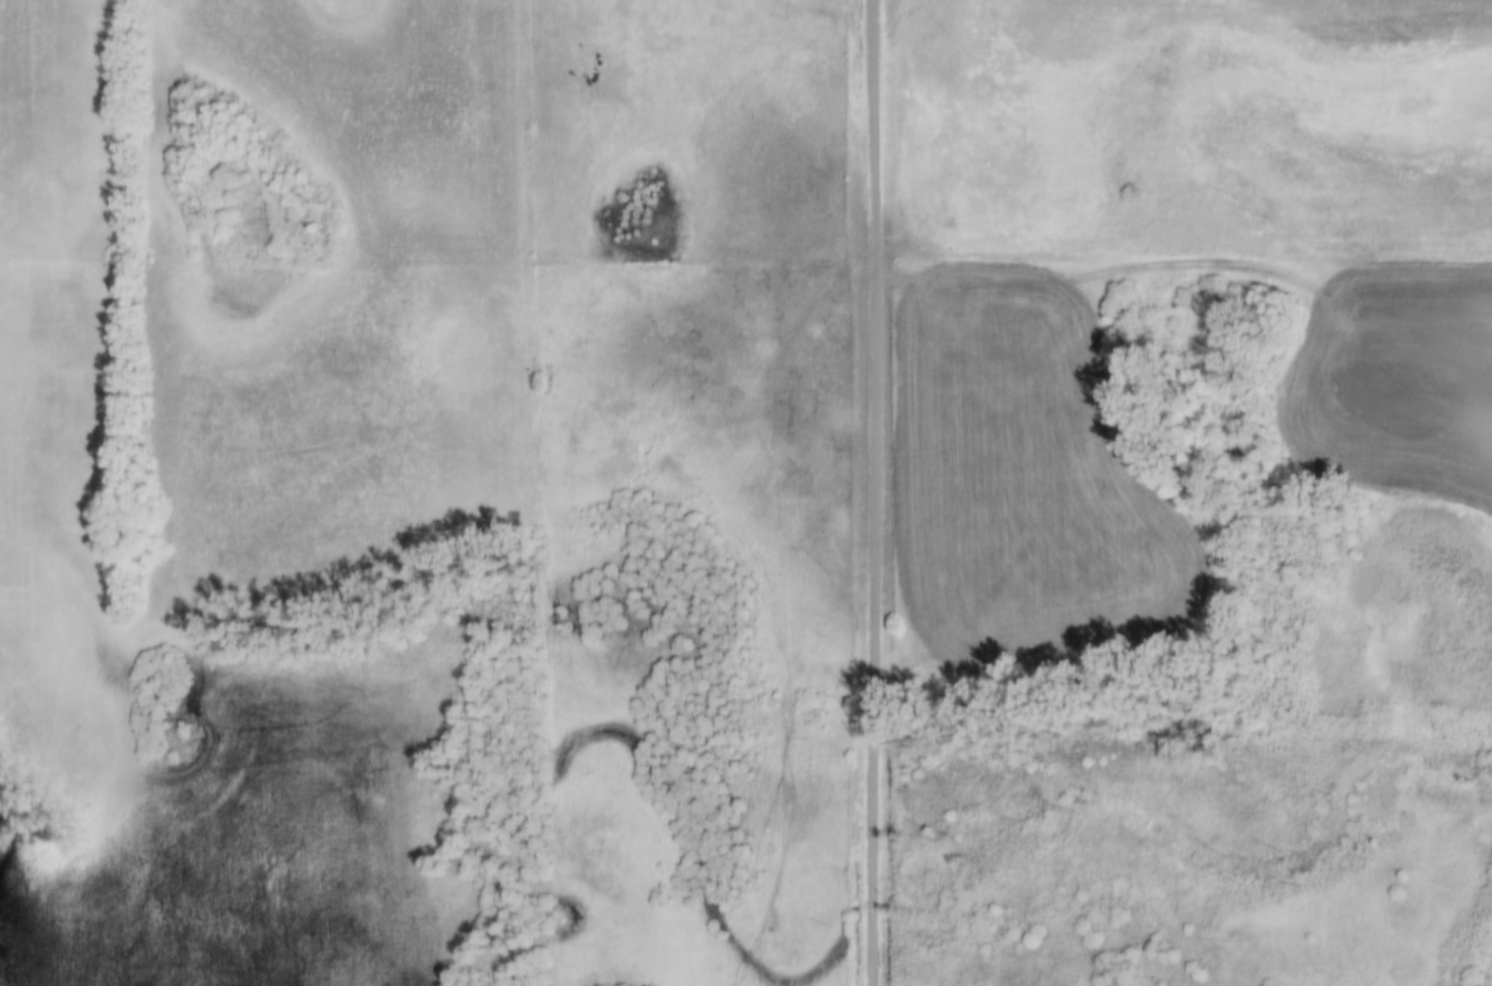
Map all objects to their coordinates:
road: (1184, 266)
road: (262, 296)
road: (872, 492)
road: (528, 496)

